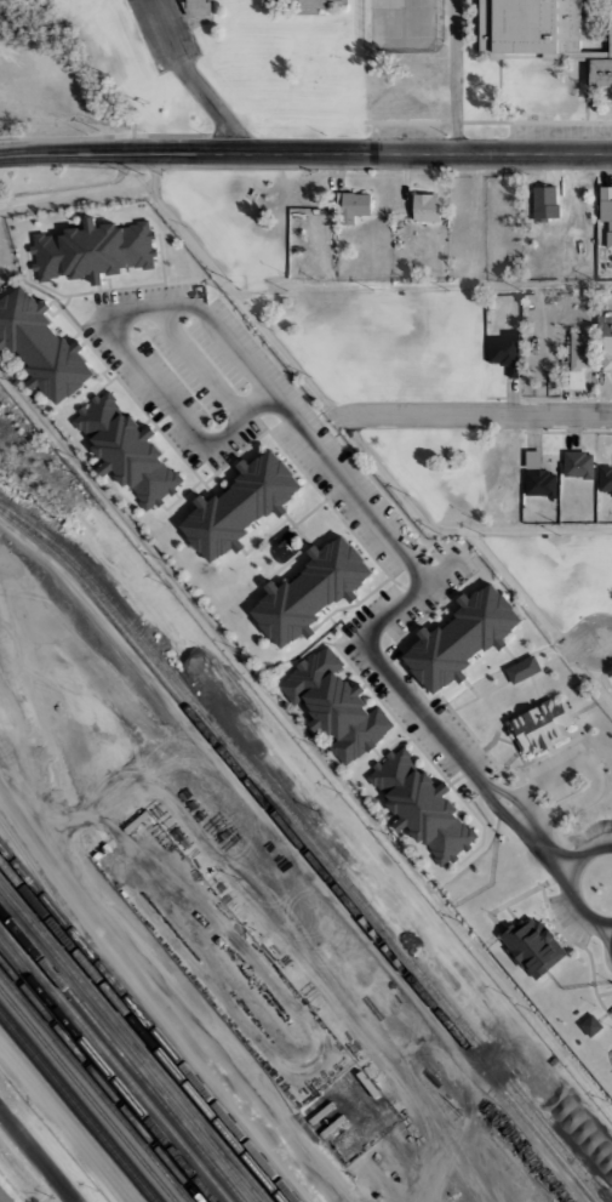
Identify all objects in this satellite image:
building: (320, 4)
building: (195, 7)
parking lot: (162, 30)
building: (542, 33)
park: (215, 61)
road: (454, 76)
road: (191, 80)
road: (305, 153)
building: (544, 204)
building: (351, 206)
building: (425, 207)
building: (606, 211)
building: (92, 250)
building: (602, 255)
road: (423, 285)
road: (233, 289)
building: (605, 340)
building: (41, 346)
building: (504, 352)
building: (561, 353)
building: (578, 360)
road: (200, 364)
park: (402, 393)
parking lot: (231, 400)
road: (475, 415)
building: (126, 450)
building: (577, 465)
road: (334, 471)
building: (605, 479)
building: (540, 483)
building: (241, 506)
road: (447, 530)
road: (437, 572)
building: (311, 591)
road: (539, 616)
building: (462, 638)
park: (593, 638)
building: (522, 670)
parking lot: (370, 673)
building: (336, 705)
building: (540, 725)
road: (591, 768)
parking lot: (561, 773)
building: (422, 807)
parking lot: (589, 831)
railway: (313, 843)
railway: (304, 849)
railway: (34, 873)
road: (571, 883)
parking lot: (574, 930)
building: (533, 945)
road: (156, 1001)
parking lot: (610, 1009)
railway: (147, 1022)
building: (590, 1026)
railway: (139, 1032)
railway: (133, 1039)
railway: (125, 1049)
railway: (120, 1056)
railway: (113, 1064)
railway: (107, 1071)
railway: (99, 1079)
railway: (93, 1088)
railway: (86, 1096)
railway: (76, 1107)
road: (35, 1158)
building: (5, 1196)

